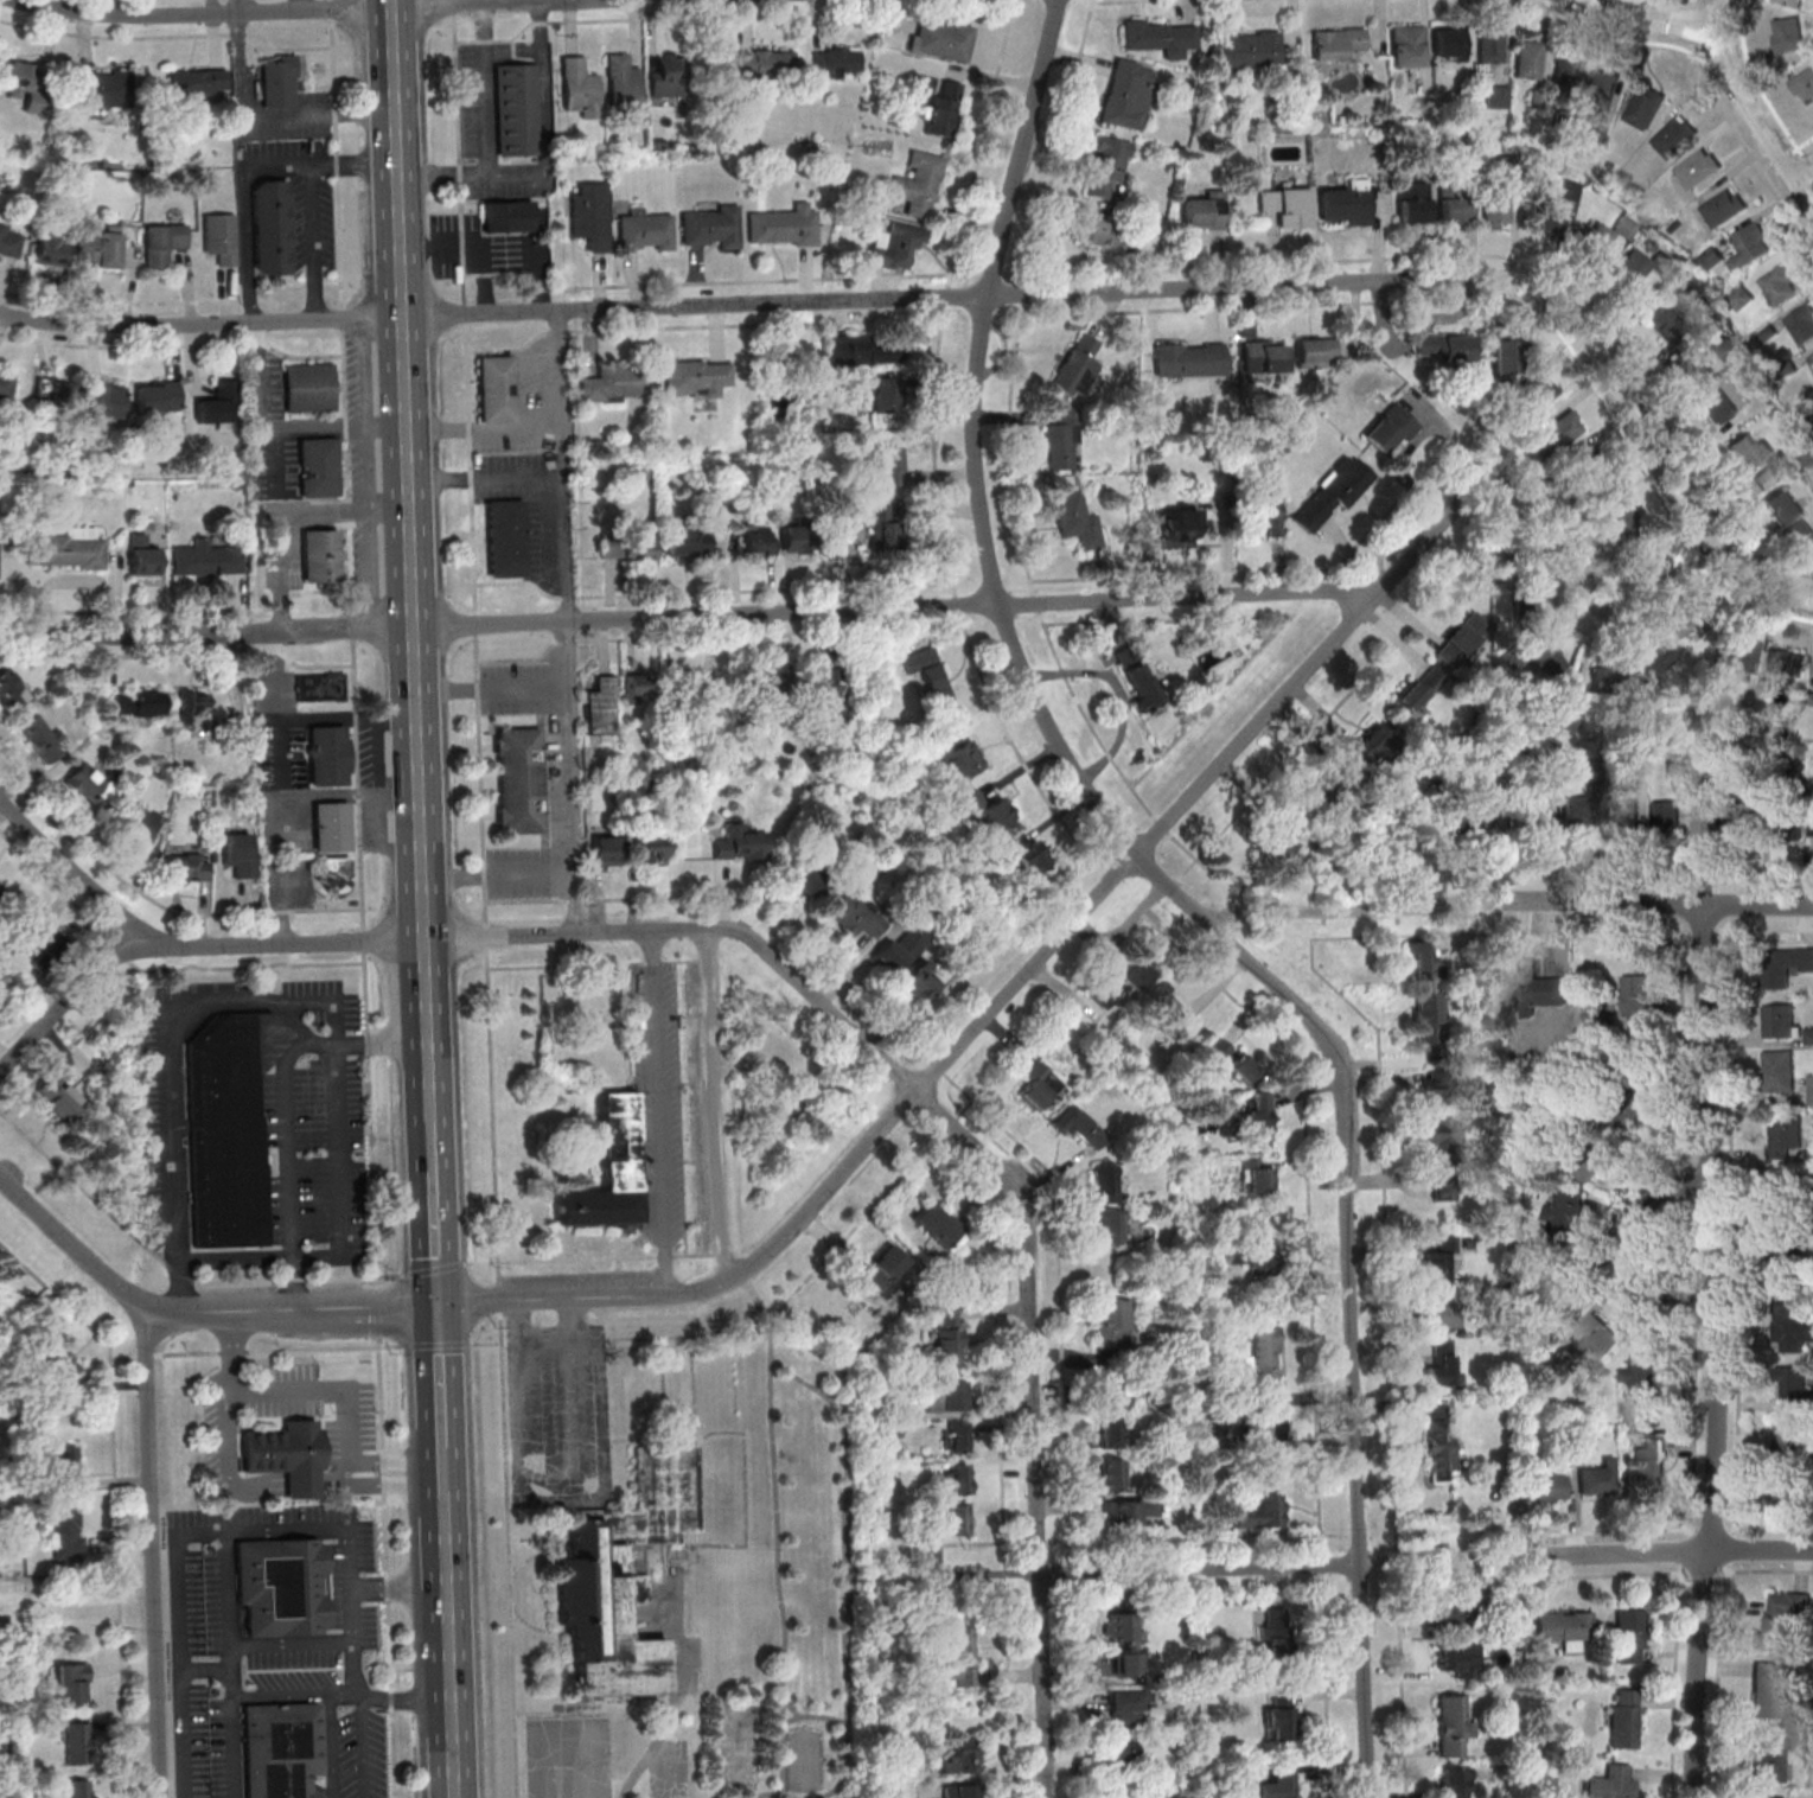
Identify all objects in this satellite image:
road: (1125, 1)
road: (524, 2)
building: (1794, 2)
road: (237, 6)
road: (200, 15)
road: (732, 15)
road: (1651, 21)
road: (1694, 25)
building: (1162, 37)
building: (941, 39)
building: (1782, 40)
building: (1336, 44)
building: (1448, 44)
building: (1489, 45)
building: (1406, 46)
building: (1249, 49)
building: (1527, 59)
building: (835, 62)
building: (764, 63)
building: (1565, 74)
building: (668, 76)
road: (1707, 78)
building: (197, 82)
building: (621, 82)
building: (25, 83)
building: (276, 83)
building: (1603, 83)
road: (1755, 83)
building: (1802, 84)
building: (104, 88)
building: (579, 88)
building: (1496, 94)
building: (1128, 95)
road: (1741, 95)
building: (1643, 106)
building: (515, 108)
building: (941, 108)
road: (267, 117)
building: (1674, 135)
road: (1800, 144)
road: (543, 158)
road: (351, 164)
road: (1807, 165)
road: (279, 166)
building: (1106, 166)
building: (1697, 167)
road: (1802, 172)
building: (919, 185)
road: (1812, 186)
building: (1569, 190)
road: (1802, 195)
building: (1412, 203)
building: (1454, 203)
building: (1348, 204)
building: (1496, 204)
building: (1287, 206)
building: (1723, 206)
building: (1205, 211)
building: (506, 215)
building: (589, 217)
building: (1544, 218)
building: (268, 227)
building: (710, 227)
building: (783, 227)
building: (644, 231)
building: (1099, 234)
building: (1601, 237)
building: (219, 240)
building: (9, 241)
road: (475, 243)
building: (161, 244)
building: (894, 244)
building: (1749, 246)
building: (47, 247)
building: (97, 248)
road: (1496, 254)
building: (1642, 267)
road: (292, 282)
road: (706, 282)
building: (1780, 283)
building: (1741, 297)
road: (735, 306)
building: (1666, 321)
building: (1801, 323)
building: (1444, 349)
building: (857, 350)
building: (1316, 352)
building: (1264, 356)
building: (1505, 356)
building: (1811, 357)
building: (1189, 359)
building: (1691, 365)
building: (1078, 366)
building: (695, 377)
building: (617, 383)
building: (6, 384)
building: (307, 387)
building: (496, 389)
building: (882, 393)
building: (1534, 393)
building: (51, 396)
building: (157, 396)
road: (1607, 400)
building: (101, 401)
building: (216, 404)
building: (1717, 404)
road: (262, 420)
road: (483, 426)
road: (338, 428)
building: (1391, 429)
building: (1563, 429)
road: (1654, 433)
building: (1062, 440)
building: (1750, 449)
building: (1807, 457)
building: (1584, 460)
building: (317, 466)
building: (888, 467)
road: (408, 472)
building: (1768, 477)
building: (1334, 492)
building: (1783, 506)
building: (1263, 511)
road: (283, 515)
building: (1622, 515)
building: (1075, 519)
building: (876, 524)
building: (1177, 529)
building: (505, 537)
building: (796, 538)
building: (1566, 538)
building: (759, 540)
building: (687, 541)
building: (628, 546)
building: (68, 550)
building: (142, 555)
building: (319, 555)
building: (206, 560)
road: (949, 561)
road: (1659, 568)
road: (1263, 570)
road: (711, 592)
road: (1284, 614)
road: (691, 617)
road: (572, 621)
road: (768, 633)
building: (1462, 639)
road: (477, 640)
road: (353, 644)
building: (1743, 655)
building: (1653, 658)
building: (1545, 659)
building: (1786, 662)
building: (930, 675)
building: (1137, 676)
building: (767, 681)
building: (1609, 681)
building: (638, 684)
building: (697, 686)
building: (320, 687)
building: (1419, 688)
building: (822, 689)
building: (11, 690)
building: (139, 703)
road: (343, 712)
building: (40, 738)
road: (1104, 742)
building: (1375, 747)
building: (327, 755)
building: (958, 758)
building: (1636, 767)
building: (519, 780)
building: (1334, 782)
building: (88, 786)
road: (270, 791)
building: (987, 810)
building: (1573, 811)
building: (1706, 811)
building: (1533, 812)
building: (1626, 816)
building: (1666, 817)
building: (1748, 818)
building: (1463, 821)
building: (1788, 822)
building: (136, 823)
building: (331, 827)
building: (1812, 828)
building: (1279, 839)
building: (740, 842)
building: (651, 847)
building: (606, 852)
building: (238, 854)
building: (1030, 857)
building: (185, 866)
road: (66, 867)
building: (334, 874)
building: (807, 881)
building: (0, 888)
road: (1180, 899)
road: (1496, 899)
road: (577, 900)
road: (529, 901)
road: (1659, 905)
road: (1348, 911)
building: (855, 913)
building: (43, 946)
road: (281, 946)
building: (900, 950)
building: (1425, 959)
road: (567, 965)
building: (1783, 965)
building: (1125, 978)
building: (1539, 984)
road: (1003, 1001)
building: (1638, 1001)
road: (70, 1003)
building: (1163, 1013)
building: (1429, 1015)
building: (1779, 1020)
road: (428, 1027)
building: (1808, 1035)
road: (1020, 1051)
building: (1233, 1060)
building: (1779, 1071)
road: (907, 1079)
building: (1039, 1084)
building: (1434, 1086)
building: (1811, 1089)
building: (63, 1098)
building: (1633, 1105)
road: (717, 1107)
road: (660, 1112)
building: (1258, 1120)
building: (229, 1124)
building: (1080, 1127)
building: (1436, 1131)
building: (1786, 1135)
road: (433, 1141)
road: (286, 1148)
building: (1590, 1159)
building: (608, 1171)
building: (1257, 1175)
building: (1104, 1182)
road: (81, 1184)
building: (1441, 1185)
road: (175, 1194)
road: (1058, 1196)
building: (1793, 1198)
building: (1566, 1212)
building: (937, 1224)
building: (1109, 1226)
road: (435, 1238)
road: (1630, 1244)
road: (72, 1245)
building: (1251, 1256)
road: (594, 1258)
building: (1438, 1261)
building: (1785, 1264)
building: (882, 1267)
road: (433, 1269)
road: (178, 1271)
road: (298, 1277)
road: (499, 1296)
traffic signals: (438, 1307)
road: (291, 1309)
road: (377, 1312)
building: (1438, 1314)
building: (1111, 1322)
building: (1789, 1326)
building: (1595, 1337)
building: (949, 1339)
road: (438, 1345)
road: (277, 1350)
road: (1715, 1352)
road: (122, 1356)
road: (145, 1356)
building: (1263, 1357)
building: (57, 1360)
building: (1441, 1363)
road: (440, 1377)
building: (1643, 1377)
building: (1792, 1383)
road: (293, 1390)
building: (1111, 1391)
building: (945, 1396)
building: (1268, 1426)
building: (1112, 1433)
building: (955, 1437)
building: (1790, 1437)
building: (1583, 1440)
building: (1441, 1450)
building: (286, 1455)
road: (394, 1461)
building: (1649, 1461)
building: (66, 1465)
road: (443, 1469)
building: (1113, 1473)
building: (957, 1478)
building: (1600, 1479)
road: (395, 1481)
building: (1551, 1486)
building: (1788, 1493)
road: (115, 1496)
building: (1128, 1512)
building: (1260, 1512)
road: (775, 1516)
building: (951, 1519)
building: (66, 1529)
road: (1603, 1530)
road: (216, 1532)
road: (1004, 1548)
road: (1762, 1551)
road: (1628, 1554)
road: (154, 1555)
road: (507, 1555)
road: (1546, 1555)
road: (385, 1566)
road: (847, 1566)
road: (1259, 1569)
road: (1761, 1570)
building: (621, 1573)
road: (59, 1576)
road: (401, 1585)
building: (279, 1589)
road: (1391, 1593)
park: (805, 1603)
road: (952, 1609)
building: (1447, 1614)
road: (226, 1615)
building: (1781, 1619)
building: (1565, 1627)
building: (1277, 1633)
building: (1632, 1637)
building: (1124, 1641)
road: (60, 1643)
road: (292, 1643)
road: (451, 1644)
building: (960, 1657)
building: (1460, 1660)
road: (206, 1668)
building: (71, 1682)
road: (1043, 1685)
road: (676, 1687)
building: (1769, 1690)
road: (408, 1695)
road: (298, 1697)
road: (790, 1705)
building: (1126, 1707)
road: (815, 1716)
building: (1278, 1717)
building: (1624, 1719)
building: (1454, 1726)
building: (77, 1742)
park: (735, 1743)
road: (333, 1747)
road: (365, 1747)
road: (234, 1748)
building: (279, 1751)
building: (1123, 1751)
building: (962, 1758)
building: (1769, 1758)
park: (803, 1759)
building: (1456, 1783)
building: (1613, 1783)
building: (1278, 1785)
building: (78, 1789)
building: (959, 1791)
road: (772, 1793)
building: (1768, 1797)

